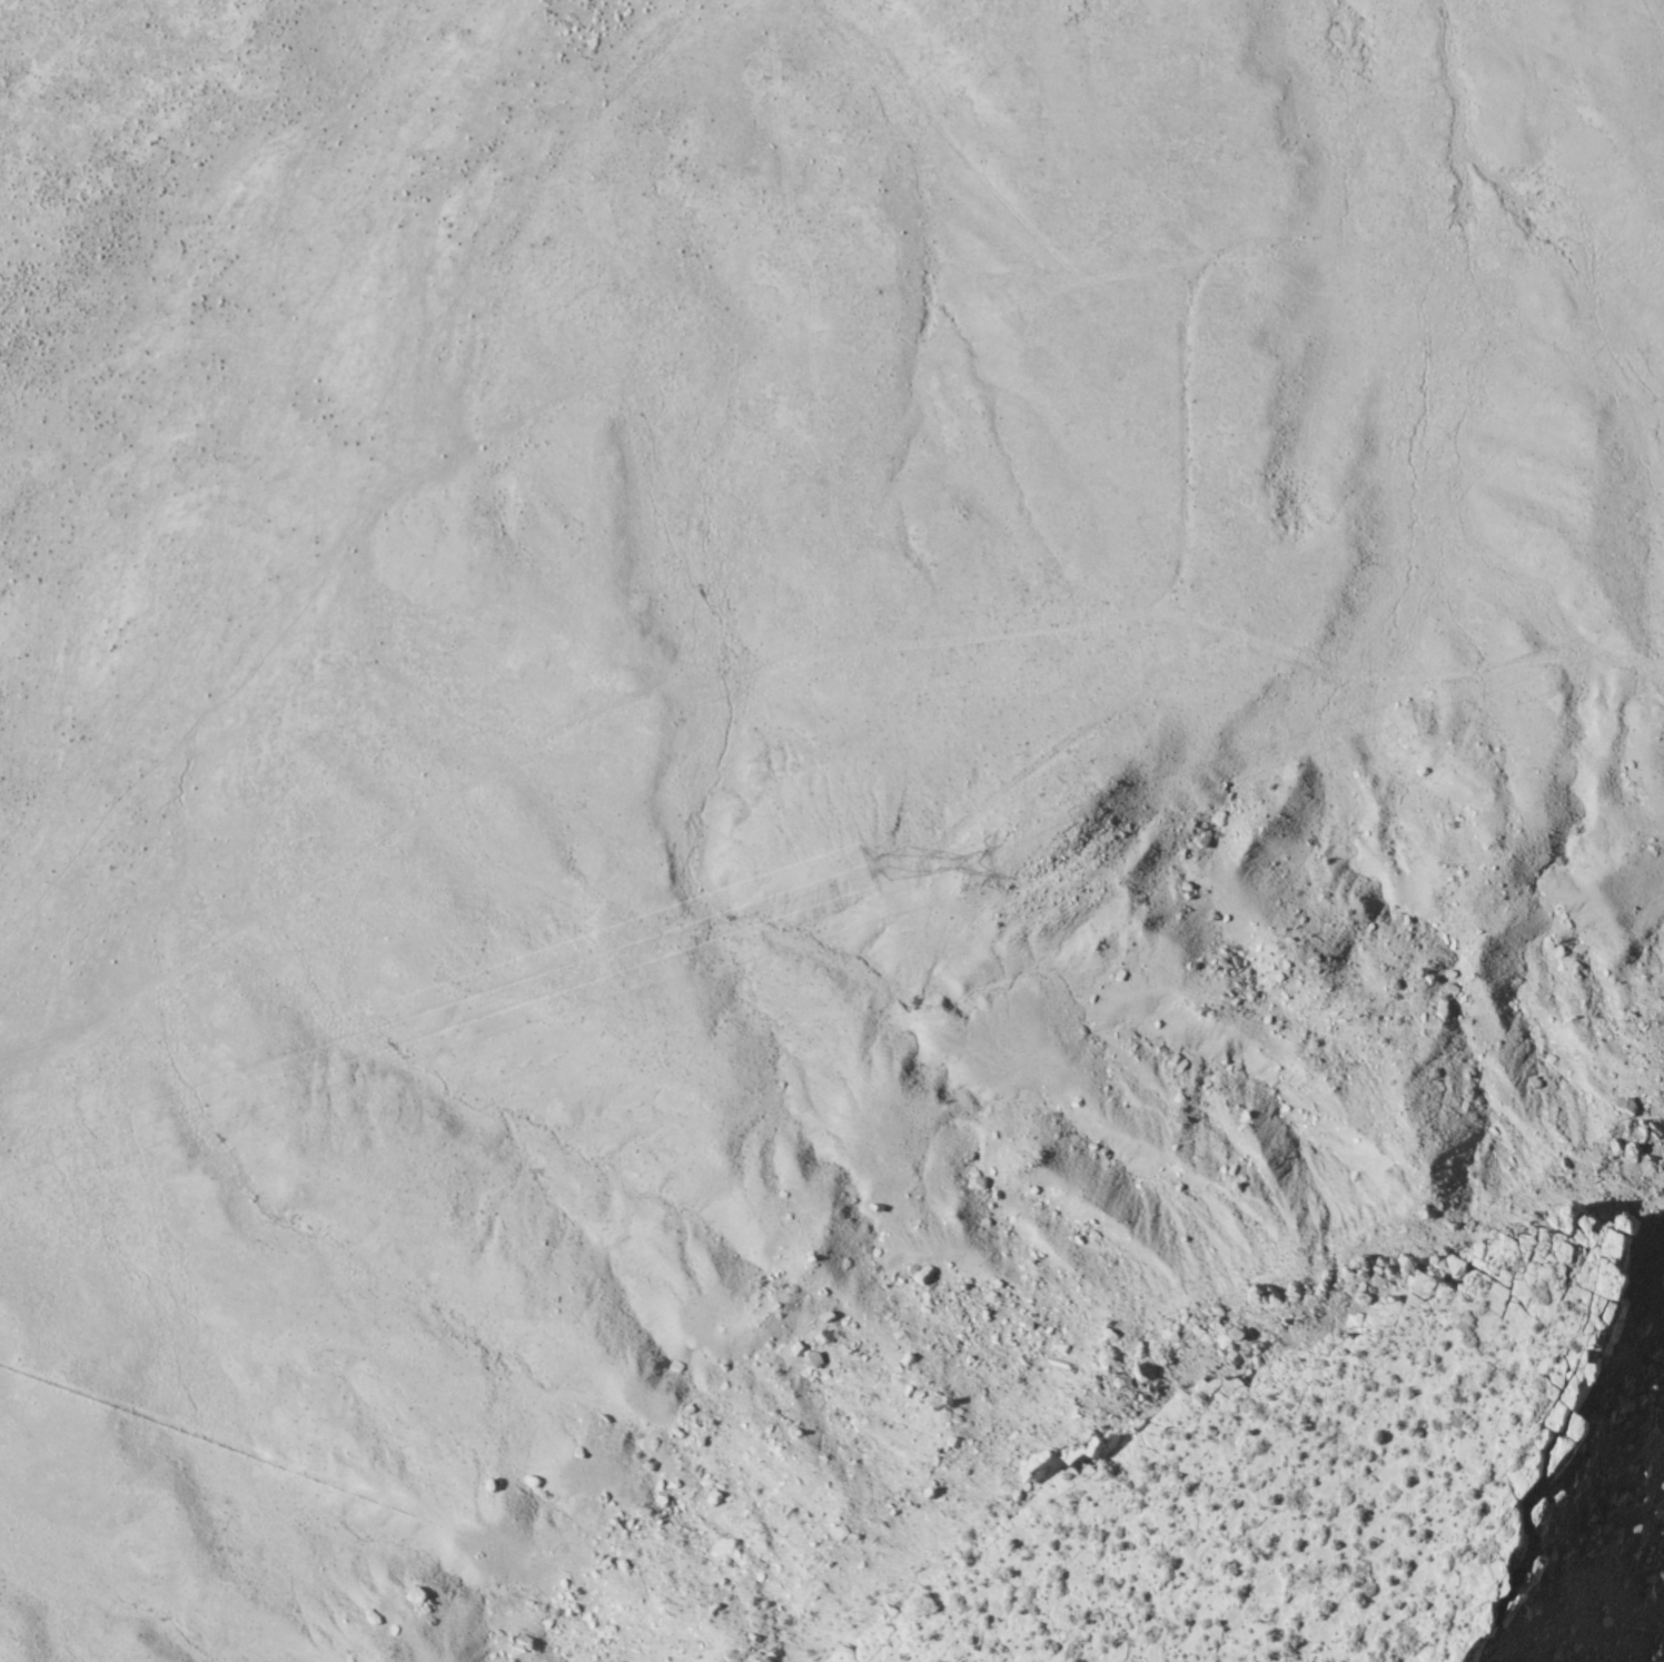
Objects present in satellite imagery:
road: (821, 342)
road: (730, 691)
power tower: (912, 858)

